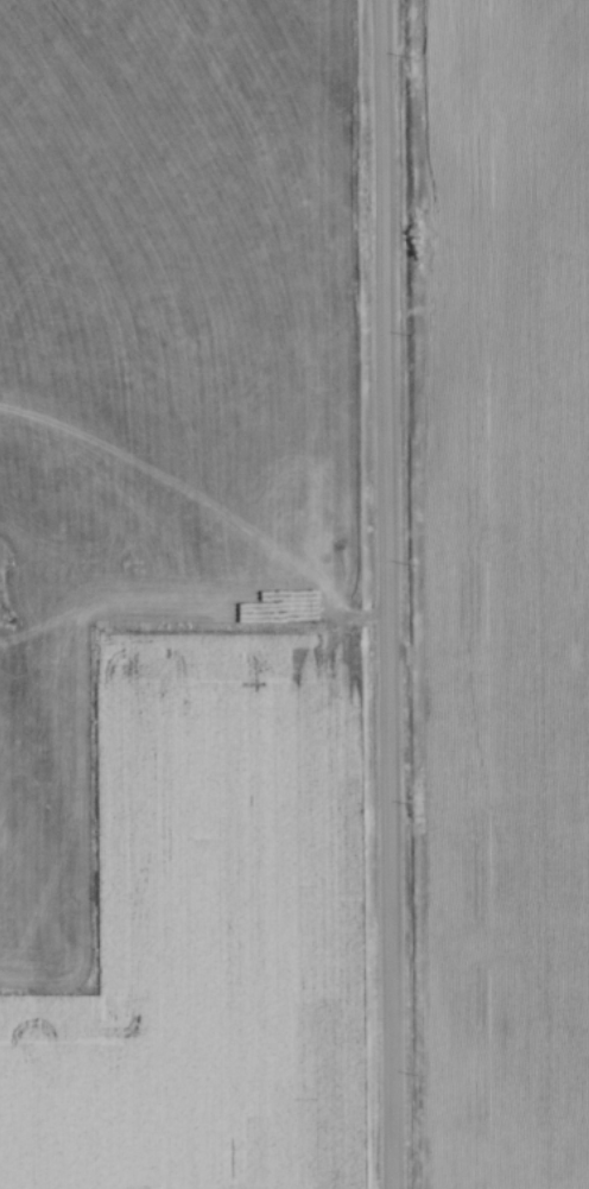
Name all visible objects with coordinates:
road: (379, 594)

